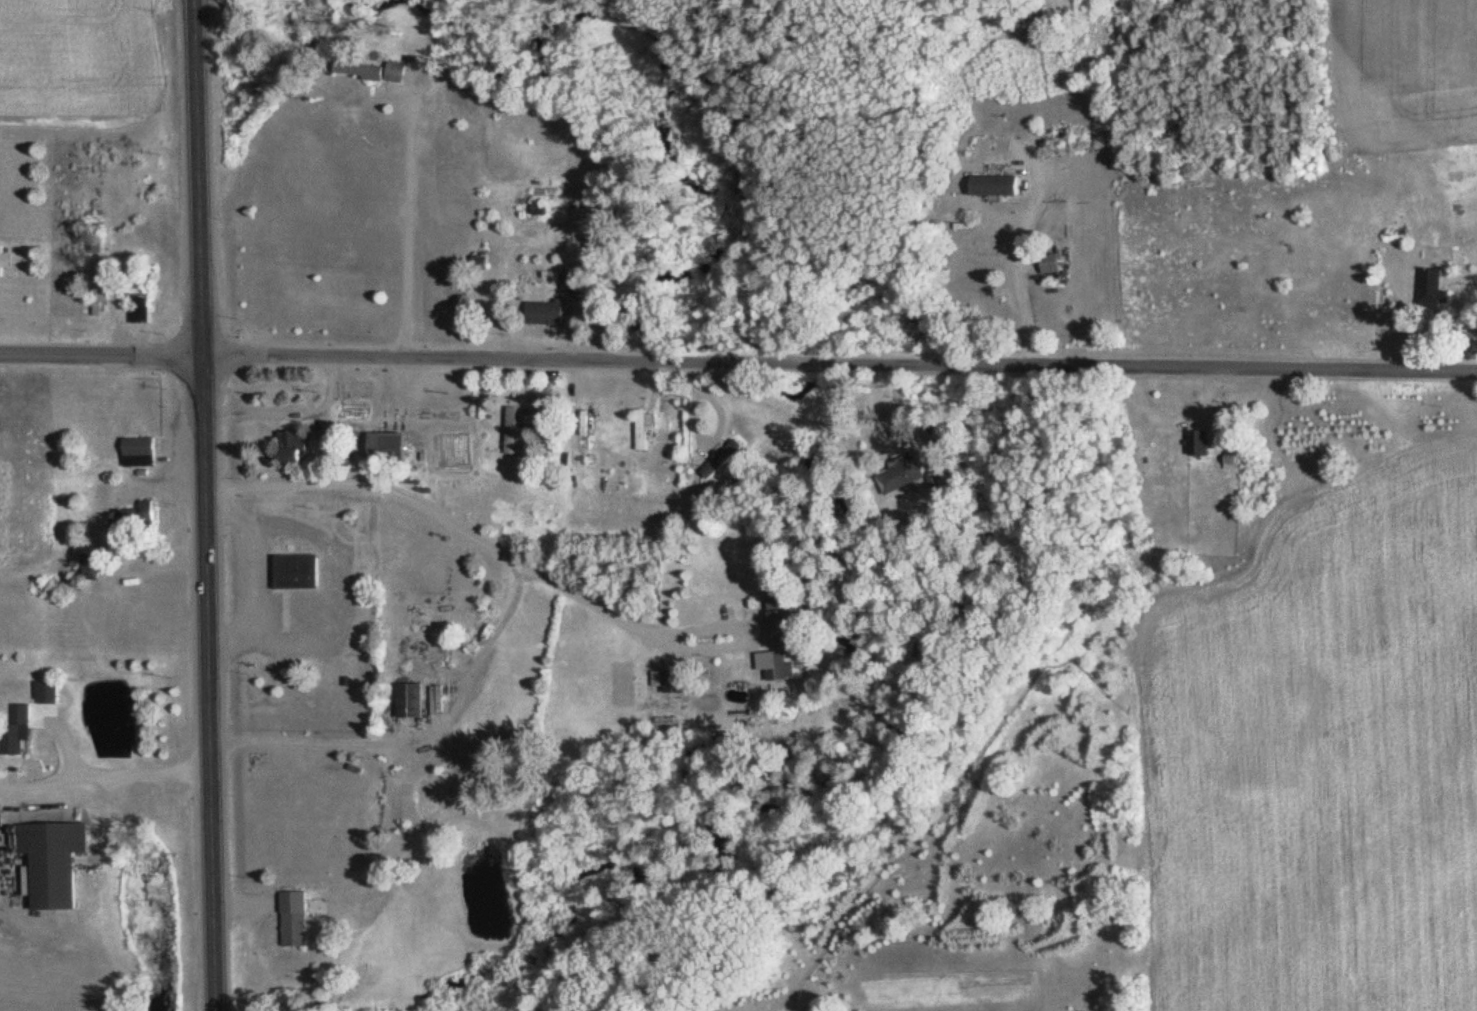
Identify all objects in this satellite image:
building: (366, 71)
building: (396, 71)
building: (998, 185)
building: (541, 209)
road: (405, 228)
building: (5, 259)
building: (1051, 262)
building: (1434, 287)
building: (547, 312)
road: (738, 363)
building: (644, 427)
building: (511, 430)
building: (1200, 443)
building: (295, 446)
building: (389, 446)
building: (139, 451)
building: (905, 473)
road: (467, 488)
road: (201, 505)
building: (92, 566)
building: (297, 571)
building: (781, 613)
building: (780, 665)
building: (675, 681)
building: (46, 690)
building: (412, 698)
building: (20, 728)
building: (442, 774)
building: (55, 860)
road: (357, 892)
building: (294, 917)

